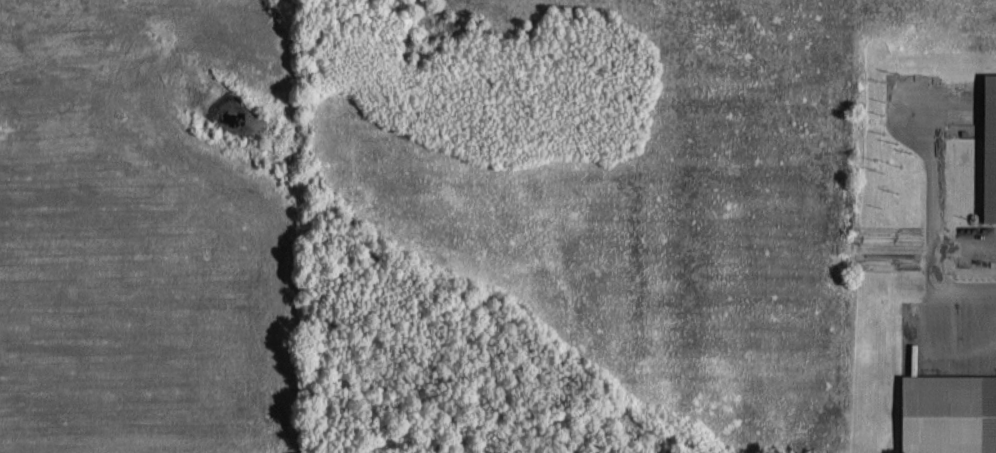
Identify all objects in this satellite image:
building: (991, 146)
road: (928, 267)
building: (950, 412)

